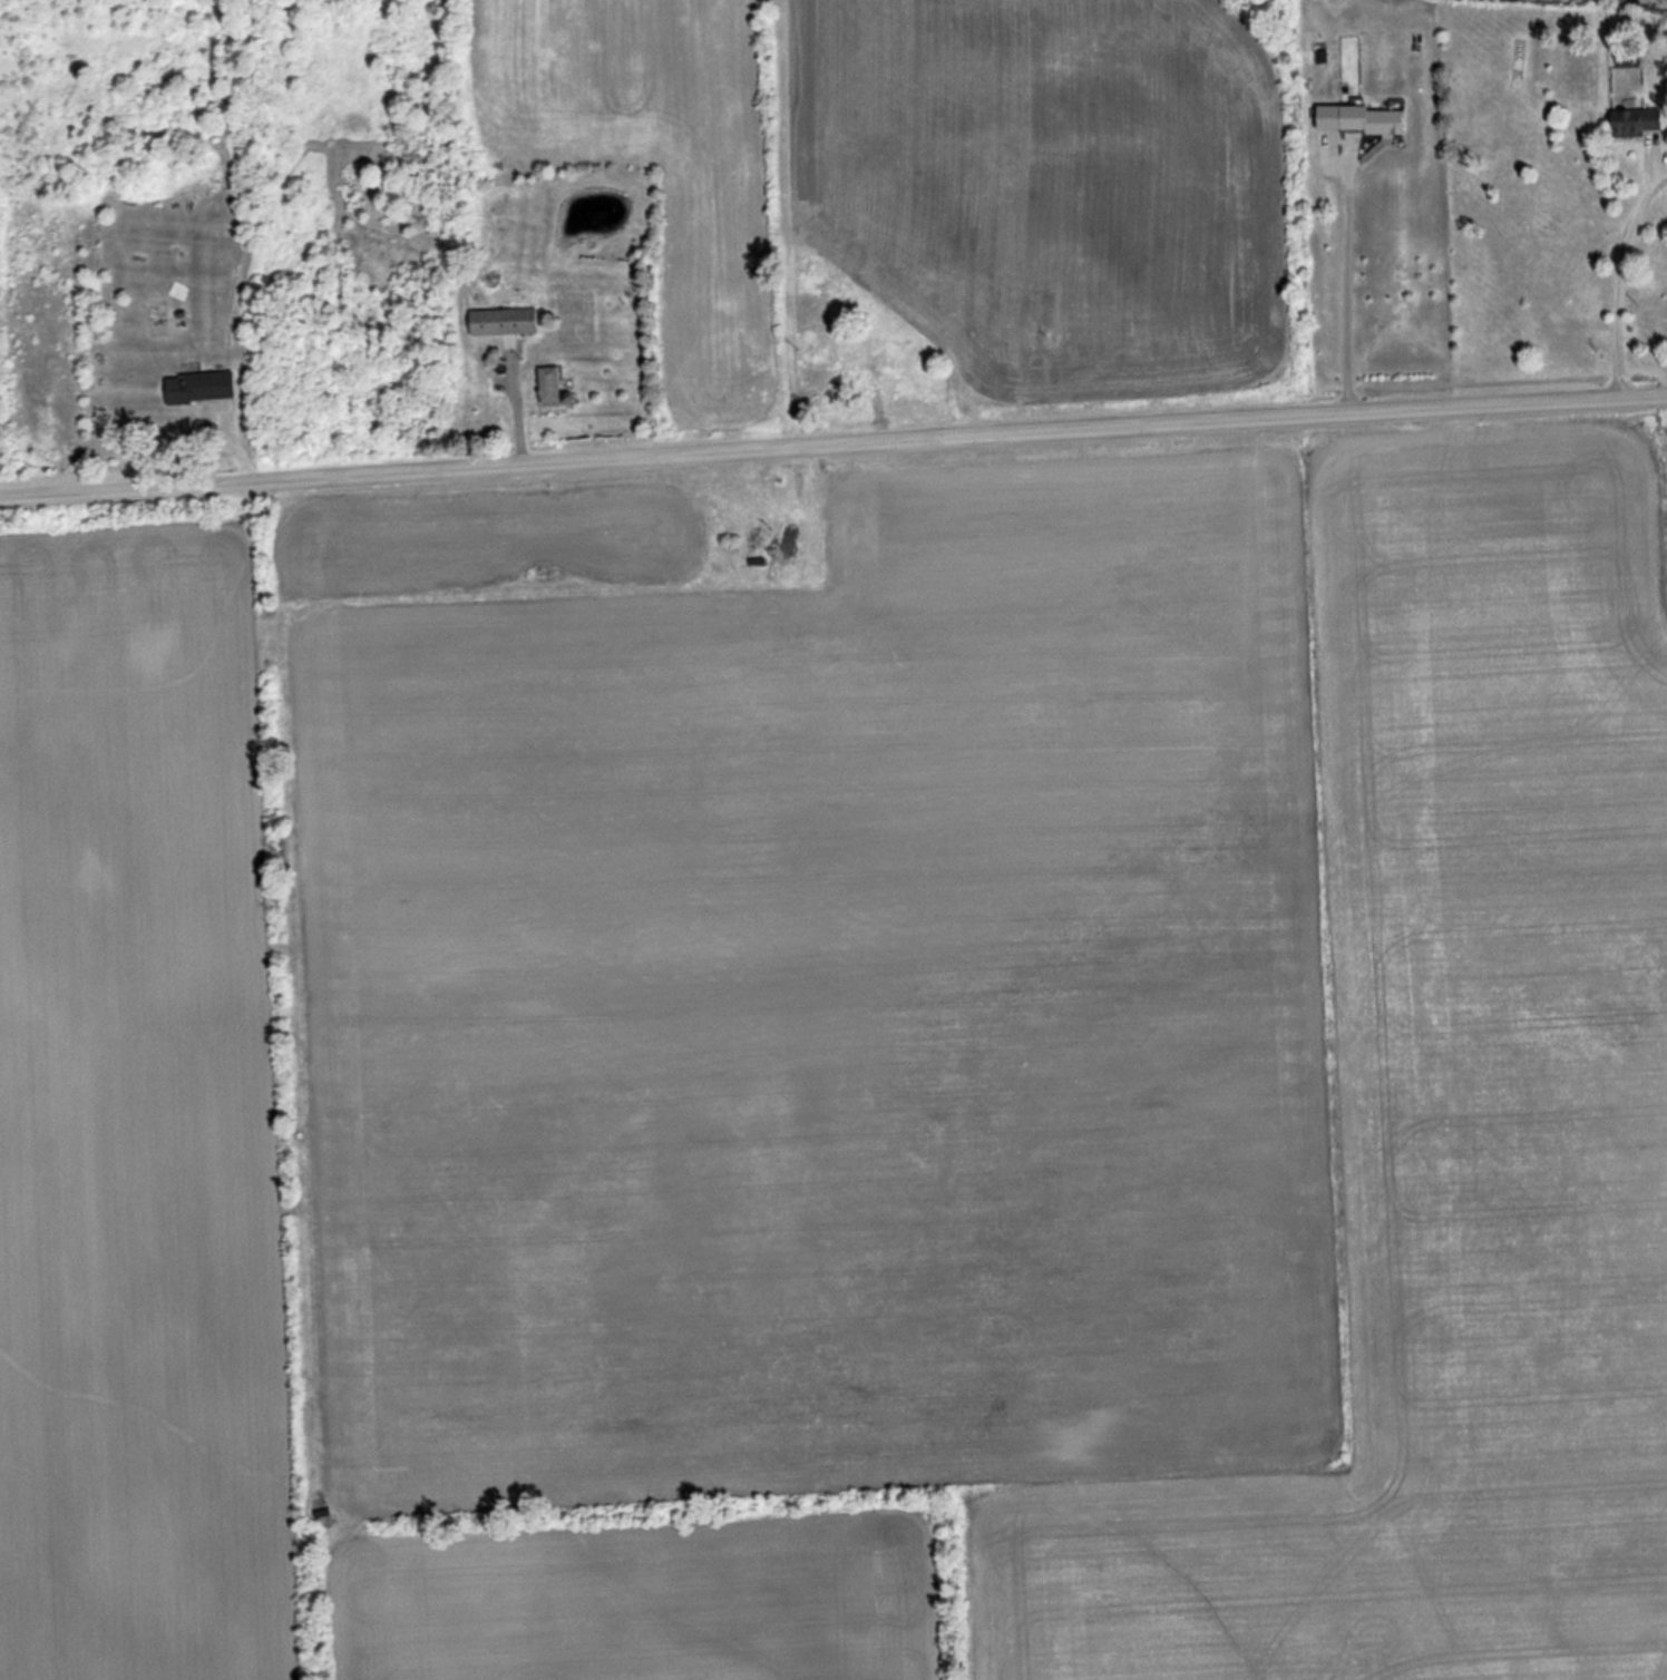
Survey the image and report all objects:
building: (1369, 119)
building: (1635, 121)
road: (1619, 273)
road: (1348, 290)
building: (503, 320)
building: (548, 384)
building: (198, 385)
building: (471, 418)
road: (832, 448)

